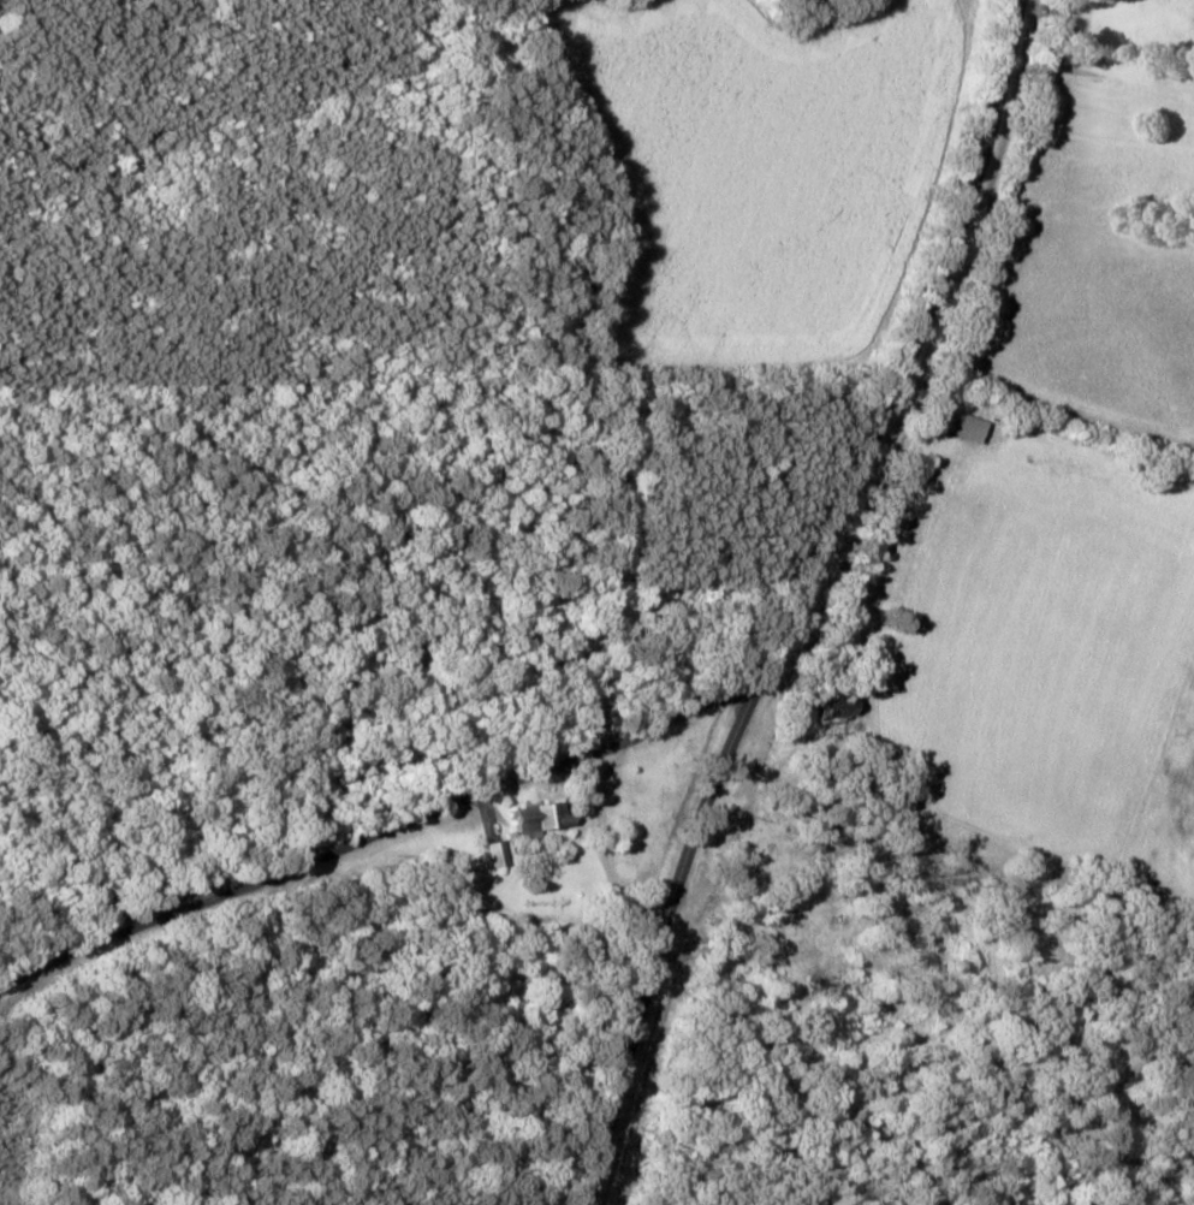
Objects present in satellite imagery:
road: (833, 604)
building: (543, 818)
building: (500, 853)
road: (370, 883)

